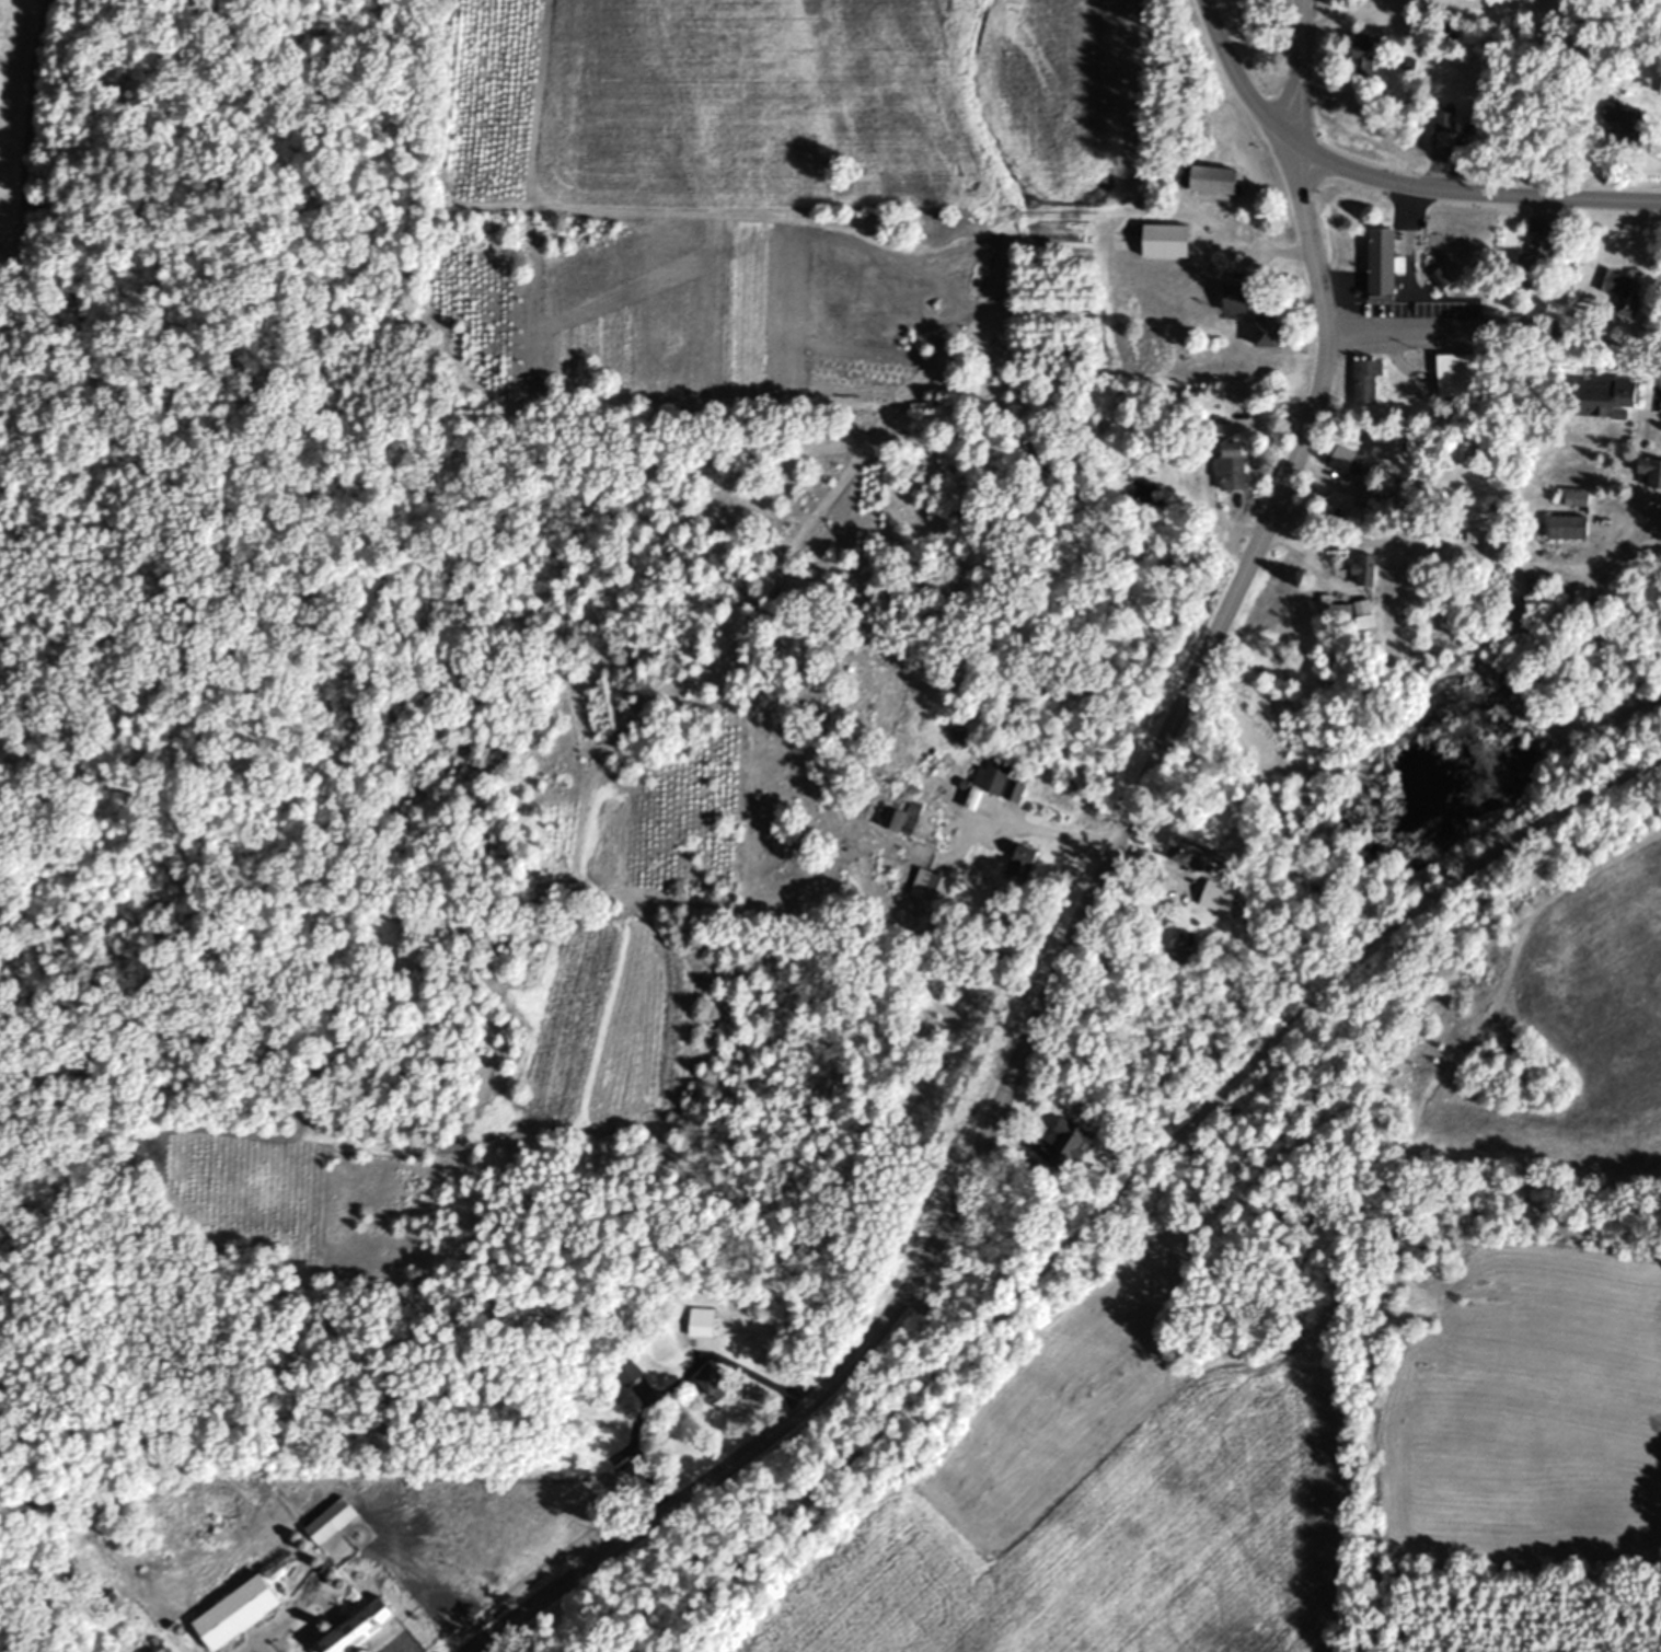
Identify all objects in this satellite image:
building: (1360, 55)
building: (1406, 65)
road: (1300, 72)
road: (1234, 80)
building: (1622, 119)
building: (1442, 120)
building: (1212, 182)
road: (1472, 194)
building: (1163, 242)
building: (1533, 262)
building: (1380, 265)
building: (1618, 291)
building: (1233, 298)
road: (1496, 319)
building: (1265, 330)
building: (1456, 377)
building: (1364, 382)
building: (1604, 396)
building: (1028, 451)
building: (1341, 460)
building: (1229, 466)
building: (1650, 473)
building: (1573, 498)
building: (1566, 529)
building: (1362, 570)
building: (995, 781)
building: (1191, 856)
building: (1018, 863)
building: (934, 891)
building: (1215, 898)
road: (1048, 986)
building: (1068, 1140)
road: (1134, 1171)
building: (699, 1322)
building: (711, 1383)
building: (327, 1522)
building: (234, 1613)
building: (354, 1629)

